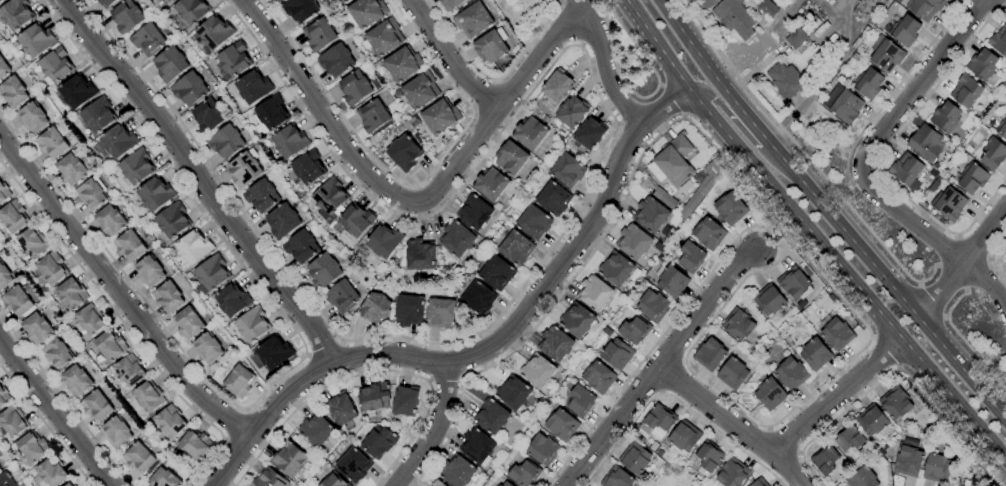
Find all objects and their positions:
building: (1, 0)
building: (95, 0)
building: (170, 0)
building: (277, 0)
building: (341, 1)
building: (345, 1)
building: (107, 2)
building: (449, 4)
building: (766, 8)
building: (925, 8)
building: (300, 9)
building: (191, 10)
road: (687, 10)
building: (366, 12)
building: (15, 14)
building: (126, 16)
building: (734, 18)
building: (473, 20)
building: (906, 30)
building: (214, 32)
building: (319, 35)
building: (384, 37)
building: (797, 37)
building: (147, 39)
building: (36, 40)
building: (999, 41)
building: (491, 46)
building: (887, 55)
building: (234, 59)
road: (701, 59)
road: (452, 60)
building: (335, 61)
road: (647, 61)
road: (600, 62)
building: (170, 65)
building: (403, 65)
building: (55, 66)
building: (984, 67)
building: (3, 68)
building: (502, 68)
road: (494, 80)
building: (784, 81)
road: (499, 82)
building: (869, 83)
road: (912, 86)
building: (253, 87)
building: (355, 88)
road: (895, 88)
building: (189, 89)
building: (420, 90)
building: (555, 90)
building: (966, 91)
building: (13, 92)
building: (77, 92)
road: (458, 94)
road: (486, 97)
road: (671, 100)
road: (331, 101)
road: (717, 103)
building: (842, 103)
road: (473, 111)
building: (571, 112)
building: (98, 115)
building: (270, 115)
building: (208, 116)
building: (373, 116)
building: (440, 117)
building: (945, 117)
building: (32, 118)
building: (406, 125)
building: (1001, 129)
road: (756, 130)
building: (530, 133)
building: (589, 133)
building: (289, 141)
building: (115, 142)
building: (226, 142)
building: (51, 143)
building: (926, 143)
building: (404, 152)
building: (992, 153)
road: (804, 154)
road: (883, 154)
building: (511, 158)
building: (672, 162)
building: (935, 166)
building: (136, 167)
building: (308, 167)
building: (71, 170)
building: (244, 170)
building: (567, 170)
building: (907, 171)
building: (970, 178)
road: (201, 180)
building: (491, 184)
building: (702, 188)
road: (843, 188)
building: (4, 192)
building: (154, 194)
building: (91, 195)
road: (399, 195)
building: (261, 196)
building: (329, 196)
building: (553, 199)
building: (665, 199)
building: (950, 204)
building: (730, 209)
building: (474, 212)
road: (578, 213)
building: (650, 215)
building: (13, 217)
building: (172, 220)
building: (110, 221)
building: (282, 221)
building: (354, 221)
road: (911, 221)
building: (534, 222)
building: (709, 233)
road: (812, 234)
road: (957, 236)
building: (457, 239)
building: (384, 241)
building: (633, 242)
building: (32, 243)
building: (129, 246)
building: (194, 247)
building: (301, 247)
building: (516, 248)
road: (971, 248)
road: (948, 252)
building: (420, 255)
building: (691, 256)
building: (1005, 256)
road: (992, 258)
road: (988, 259)
road: (962, 262)
road: (936, 265)
building: (51, 268)
building: (616, 268)
building: (324, 271)
building: (149, 272)
building: (212, 273)
building: (497, 273)
road: (975, 274)
building: (188, 275)
road: (952, 276)
building: (5, 277)
building: (672, 281)
road: (886, 282)
building: (794, 283)
road: (989, 289)
road: (965, 291)
road: (118, 292)
building: (594, 293)
building: (72, 294)
building: (168, 297)
building: (342, 297)
building: (478, 298)
building: (232, 300)
building: (769, 300)
road: (933, 300)
building: (17, 302)
building: (653, 305)
building: (375, 308)
building: (409, 310)
building: (441, 313)
building: (90, 320)
building: (576, 320)
building: (188, 323)
building: (738, 323)
building: (252, 324)
road: (125, 326)
building: (37, 328)
building: (634, 331)
building: (836, 333)
road: (867, 342)
road: (965, 342)
building: (555, 344)
building: (110, 346)
building: (207, 348)
road: (489, 348)
building: (56, 353)
road: (883, 353)
building: (271, 354)
building: (617, 354)
building: (709, 354)
building: (816, 354)
road: (682, 362)
road: (296, 363)
road: (656, 364)
building: (129, 370)
road: (893, 370)
building: (537, 371)
road: (370, 372)
building: (791, 373)
building: (732, 374)
road: (670, 376)
building: (599, 377)
building: (76, 380)
building: (239, 381)
building: (513, 392)
road: (660, 392)
road: (833, 393)
building: (770, 394)
building: (149, 396)
building: (4, 397)
building: (374, 398)
building: (405, 400)
road: (676, 400)
building: (580, 401)
road: (64, 402)
building: (896, 402)
building: (96, 406)
building: (341, 408)
road: (55, 412)
road: (1003, 412)
building: (491, 416)
building: (871, 420)
building: (170, 421)
building: (13, 422)
building: (657, 422)
road: (731, 424)
building: (561, 425)
road: (45, 426)
road: (430, 428)
building: (316, 430)
building: (116, 432)
building: (683, 438)
building: (849, 438)
building: (379, 442)
building: (195, 444)
building: (32, 447)
building: (477, 447)
building: (543, 449)
building: (290, 457)
building: (708, 457)
building: (139, 458)
building: (635, 458)
building: (908, 458)
building: (824, 461)
building: (353, 465)
building: (937, 469)
building: (51, 471)
building: (457, 472)
building: (732, 473)
building: (525, 474)
building: (616, 478)
building: (862, 478)
building: (6, 479)
building: (164, 479)
building: (268, 479)
building: (334, 481)
building: (759, 482)
building: (437, 483)
building: (70, 484)
building: (506, 484)
road: (961, 485)

